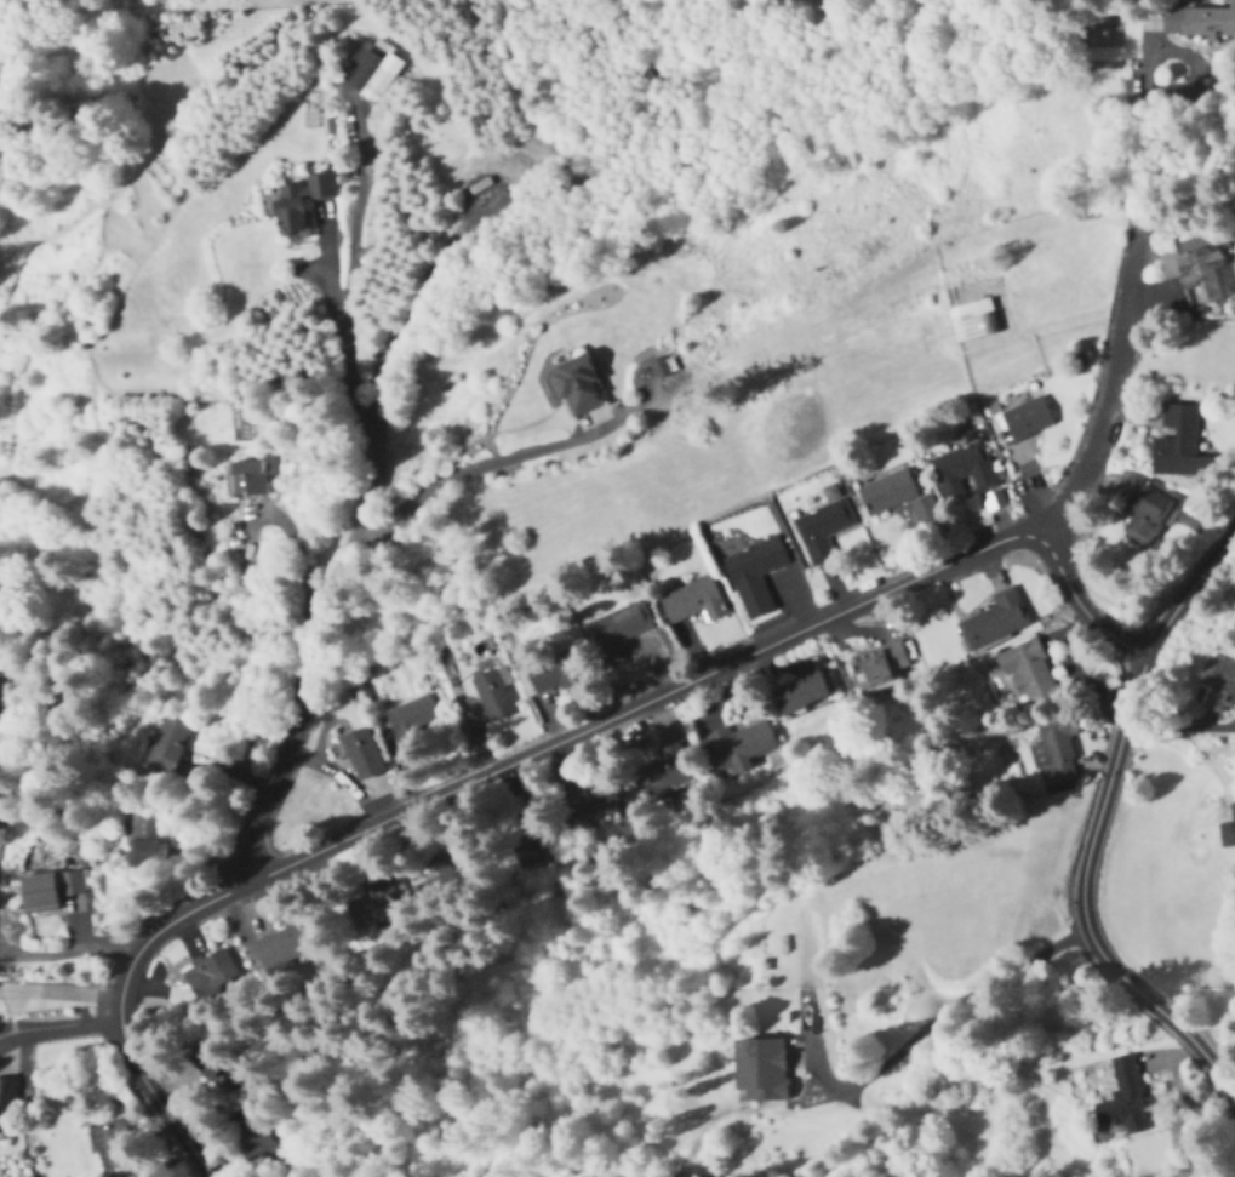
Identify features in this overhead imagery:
building: (1200, 19)
building: (367, 73)
road: (1144, 130)
building: (297, 205)
road: (361, 211)
building: (1202, 276)
building: (972, 320)
road: (343, 345)
building: (576, 385)
road: (381, 392)
road: (1113, 399)
building: (1022, 419)
building: (1179, 444)
road: (467, 465)
building: (964, 469)
building: (247, 478)
building: (886, 491)
building: (924, 509)
building: (1145, 514)
building: (822, 528)
building: (754, 573)
building: (693, 601)
road: (1084, 605)
building: (994, 618)
building: (616, 629)
building: (877, 664)
building: (1027, 672)
building: (554, 673)
building: (2, 676)
building: (1218, 685)
building: (797, 693)
building: (491, 696)
building: (413, 720)
road: (1190, 735)
building: (167, 747)
building: (738, 747)
building: (1053, 752)
building: (361, 755)
building: (663, 770)
road: (467, 782)
building: (584, 801)
building: (1228, 830)
road: (1097, 833)
building: (147, 840)
building: (532, 845)
building: (50, 890)
building: (384, 897)
building: (281, 947)
road: (69, 950)
building: (210, 975)
road: (61, 989)
road: (61, 1035)
road: (880, 1069)
building: (759, 1070)
building: (1121, 1096)
building: (6, 1097)
building: (253, 1139)
building: (114, 1145)

